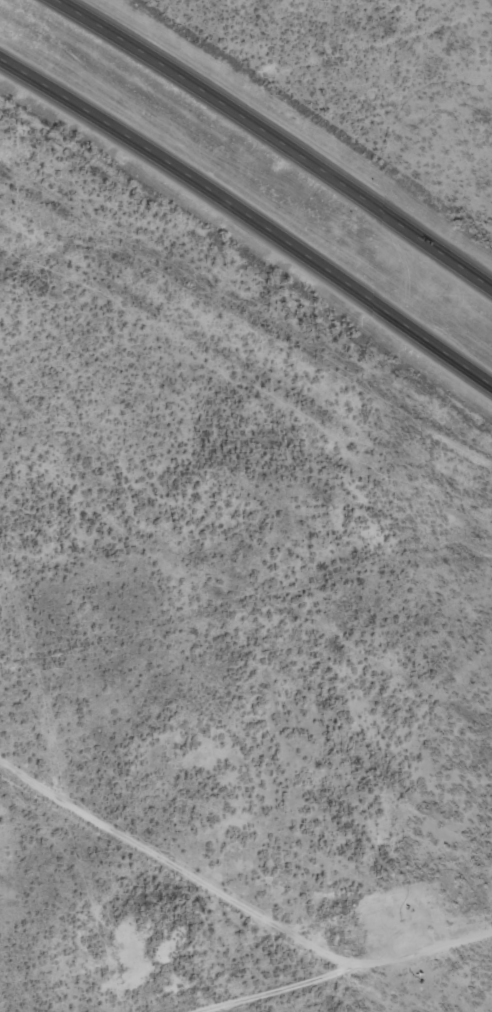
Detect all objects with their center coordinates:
road: (278, 137)
road: (250, 213)
road: (363, 974)

